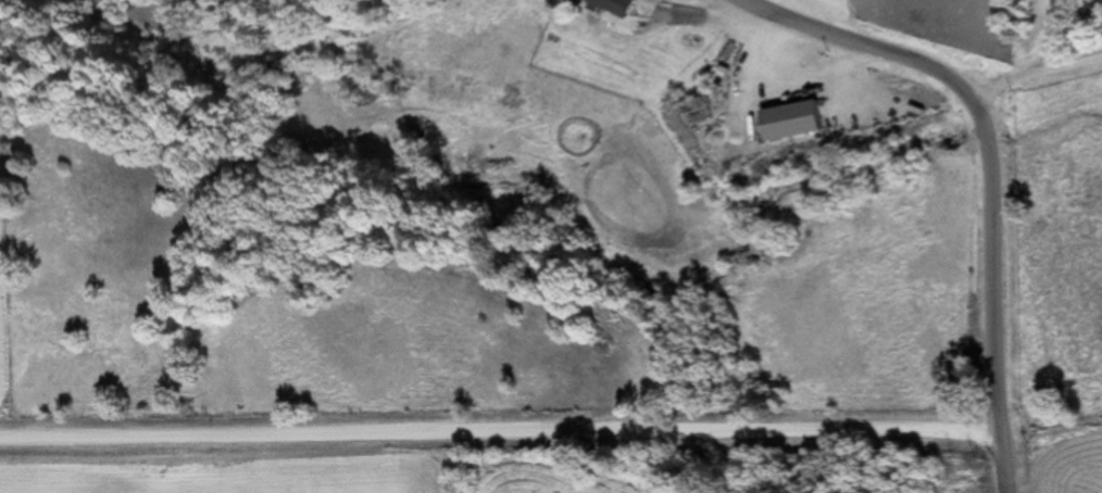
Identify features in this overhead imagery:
building: (618, 7)
road: (1043, 77)
building: (807, 121)
road: (994, 162)
road: (505, 452)

